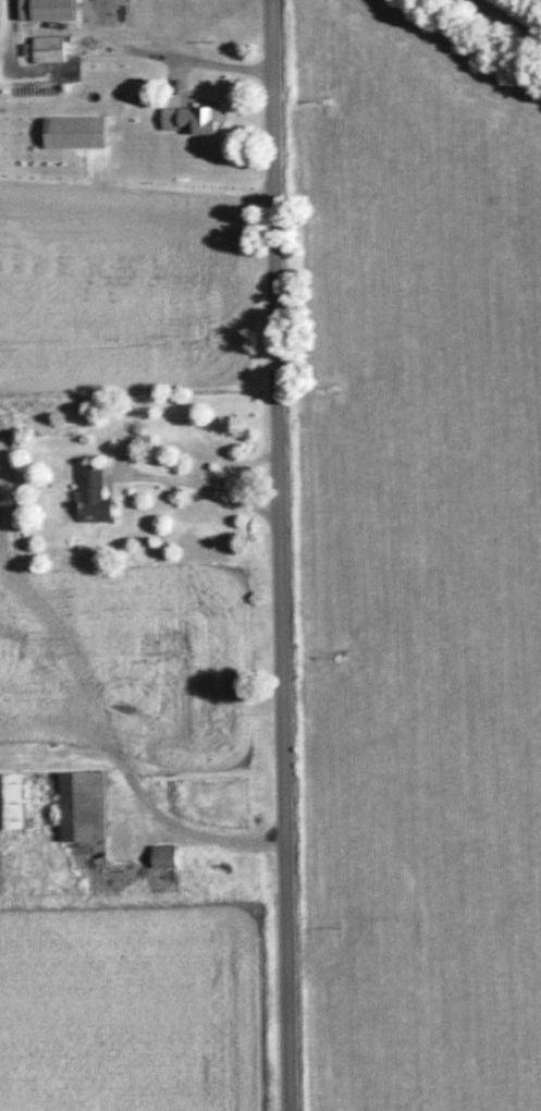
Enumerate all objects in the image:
building: (59, 11)
railway: (517, 14)
building: (52, 50)
road: (168, 54)
building: (196, 121)
building: (79, 134)
road: (231, 447)
road: (208, 477)
building: (98, 498)
road: (282, 555)
building: (13, 803)
building: (86, 807)
road: (173, 825)
building: (169, 857)

